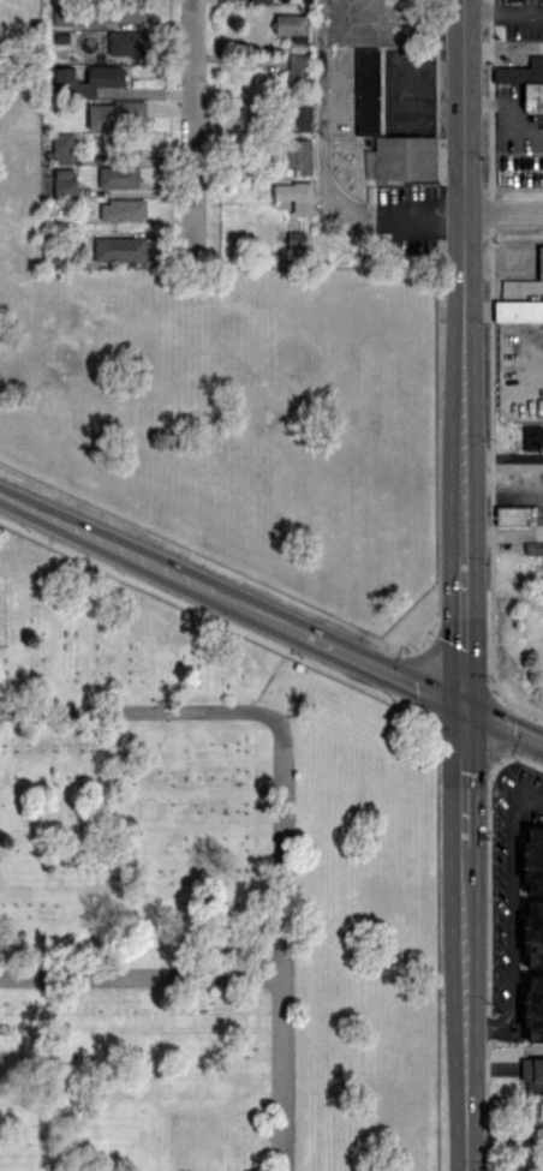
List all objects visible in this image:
building: (259, 0)
road: (529, 5)
road: (497, 6)
building: (126, 11)
road: (503, 11)
road: (339, 12)
building: (291, 25)
building: (126, 42)
building: (297, 68)
road: (318, 77)
building: (89, 79)
building: (526, 82)
building: (366, 91)
building: (114, 113)
building: (298, 114)
road: (192, 129)
building: (64, 149)
building: (298, 155)
building: (405, 157)
building: (118, 177)
building: (64, 183)
building: (294, 196)
building: (121, 209)
road: (375, 210)
road: (503, 214)
building: (119, 249)
building: (539, 262)
road: (464, 277)
building: (523, 285)
building: (518, 310)
road: (503, 477)
building: (512, 514)
road: (503, 532)
building: (533, 548)
road: (270, 617)
road: (464, 632)
traffic signals: (464, 709)
road: (464, 777)
road: (531, 796)
road: (284, 807)
building: (532, 859)
park: (204, 889)
road: (513, 928)
building: (533, 933)
road: (142, 978)
building: (533, 1006)
road: (466, 1008)
building: (531, 1075)
building: (532, 1124)

